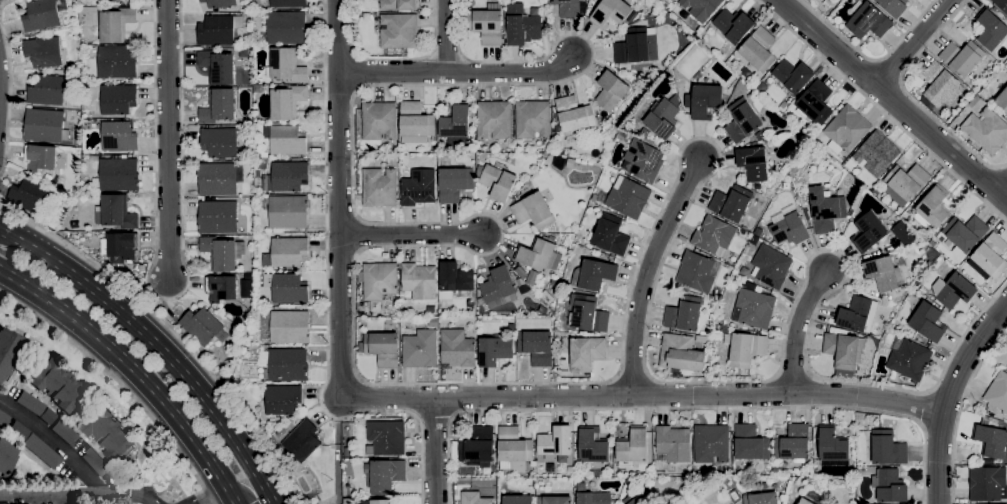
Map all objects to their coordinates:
building: (817, 1)
building: (825, 2)
building: (222, 3)
building: (288, 3)
building: (664, 3)
road: (4, 4)
building: (1001, 4)
building: (399, 5)
building: (893, 6)
building: (566, 8)
building: (701, 8)
building: (610, 13)
building: (41, 16)
building: (868, 22)
building: (115, 24)
building: (484, 26)
building: (732, 26)
building: (286, 28)
building: (523, 29)
building: (218, 30)
building: (990, 30)
building: (399, 31)
road: (445, 36)
road: (913, 43)
building: (636, 47)
building: (758, 50)
building: (43, 52)
building: (961, 58)
road: (391, 59)
road: (869, 59)
building: (117, 62)
building: (286, 66)
building: (217, 67)
road: (457, 72)
building: (792, 76)
building: (940, 85)
building: (761, 87)
building: (258, 89)
building: (47, 90)
building: (611, 91)
building: (983, 93)
road: (9, 97)
road: (910, 97)
building: (117, 98)
road: (892, 100)
building: (1002, 100)
building: (703, 101)
building: (287, 102)
building: (814, 104)
building: (976, 104)
building: (218, 106)
road: (881, 111)
building: (574, 115)
building: (663, 118)
building: (494, 120)
building: (532, 120)
building: (378, 121)
building: (454, 121)
building: (741, 121)
building: (599, 122)
building: (416, 124)
building: (45, 126)
building: (846, 130)
building: (986, 131)
building: (644, 133)
building: (118, 137)
road: (168, 140)
building: (287, 140)
building: (219, 142)
building: (264, 155)
building: (875, 155)
building: (40, 158)
building: (643, 161)
building: (753, 163)
building: (569, 164)
building: (119, 175)
building: (288, 176)
building: (48, 178)
building: (217, 179)
building: (496, 181)
building: (454, 184)
building: (904, 184)
building: (786, 186)
building: (757, 187)
building: (378, 188)
building: (418, 188)
road: (1002, 189)
building: (877, 191)
building: (29, 196)
building: (626, 197)
building: (594, 198)
road: (338, 199)
building: (730, 203)
building: (932, 209)
building: (825, 210)
building: (533, 211)
building: (115, 212)
building: (287, 212)
building: (217, 217)
building: (788, 229)
building: (868, 233)
building: (903, 234)
building: (964, 234)
road: (410, 235)
building: (609, 235)
building: (713, 235)
building: (119, 247)
building: (286, 252)
building: (222, 253)
building: (932, 254)
building: (539, 255)
building: (989, 257)
building: (770, 267)
building: (142, 268)
building: (696, 272)
road: (646, 273)
building: (522, 274)
building: (882, 274)
building: (592, 275)
building: (532, 279)
building: (453, 280)
building: (379, 281)
building: (418, 281)
building: (519, 282)
building: (555, 283)
building: (286, 288)
building: (497, 288)
building: (221, 289)
building: (953, 291)
road: (326, 298)
road: (167, 299)
building: (375, 307)
building: (753, 309)
building: (431, 310)
building: (473, 313)
building: (684, 314)
building: (589, 315)
building: (858, 315)
building: (433, 322)
building: (927, 322)
building: (201, 326)
building: (290, 327)
road: (799, 328)
road: (171, 332)
building: (362, 338)
road: (150, 345)
building: (359, 347)
building: (536, 348)
building: (744, 348)
building: (382, 349)
building: (419, 349)
building: (457, 349)
building: (8, 351)
building: (243, 351)
building: (493, 351)
building: (843, 353)
building: (585, 354)
building: (680, 354)
building: (909, 360)
building: (288, 365)
road: (131, 372)
road: (572, 383)
road: (119, 384)
building: (57, 385)
building: (998, 392)
road: (642, 396)
road: (948, 396)
building: (282, 400)
building: (30, 403)
road: (682, 409)
road: (923, 410)
road: (960, 410)
building: (3, 419)
road: (45, 431)
building: (64, 432)
building: (281, 433)
building: (108, 434)
building: (385, 438)
building: (302, 441)
building: (991, 441)
building: (555, 443)
building: (792, 443)
building: (673, 444)
building: (711, 444)
building: (750, 444)
building: (477, 446)
building: (592, 446)
building: (832, 446)
building: (513, 447)
building: (632, 447)
building: (887, 449)
building: (41, 450)
road: (434, 451)
building: (346, 452)
building: (650, 456)
building: (6, 457)
building: (94, 462)
building: (570, 470)
building: (596, 474)
building: (695, 474)
building: (384, 476)
building: (629, 483)
building: (986, 484)
building: (889, 486)
road: (247, 492)
road: (214, 495)
building: (734, 496)
road: (79, 498)
building: (473, 498)
building: (594, 498)
building: (637, 498)
building: (761, 498)
road: (269, 499)
building: (518, 500)
building: (554, 500)
road: (57, 501)
building: (345, 501)
building: (804, 501)
building: (381, 502)

